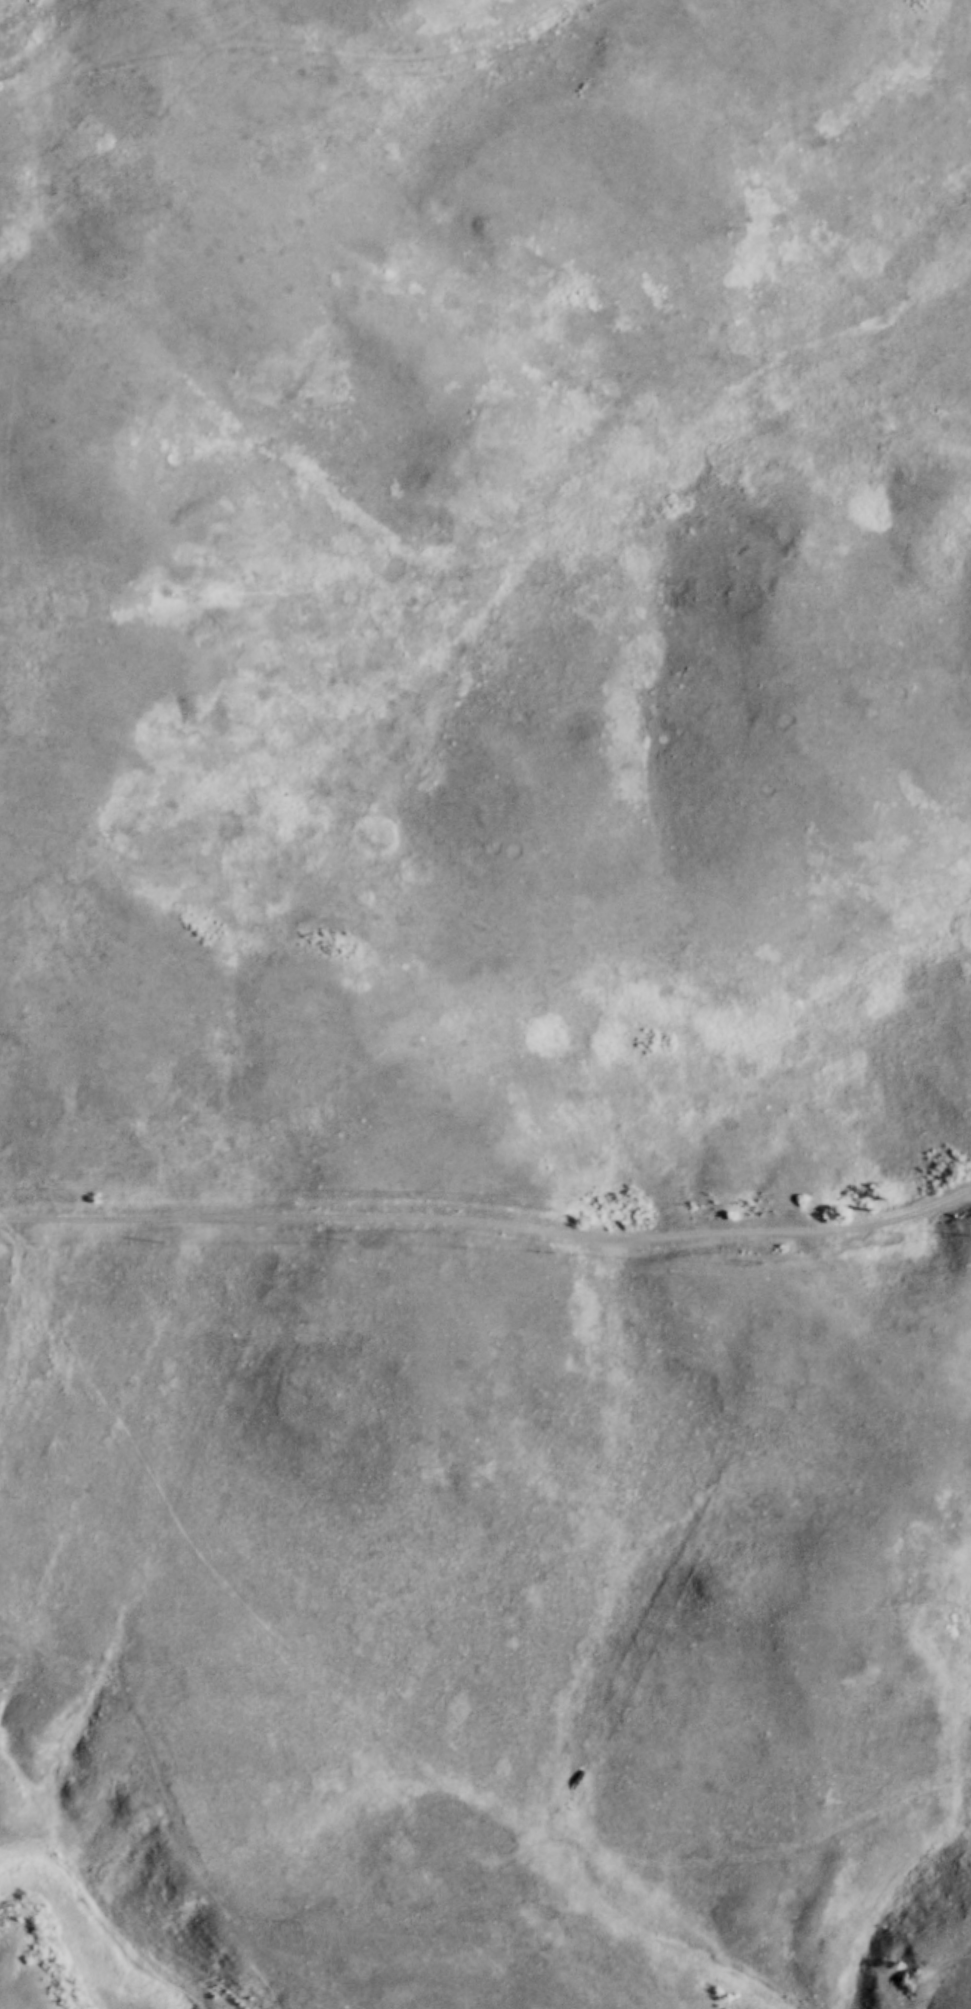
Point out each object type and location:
road: (489, 1213)

